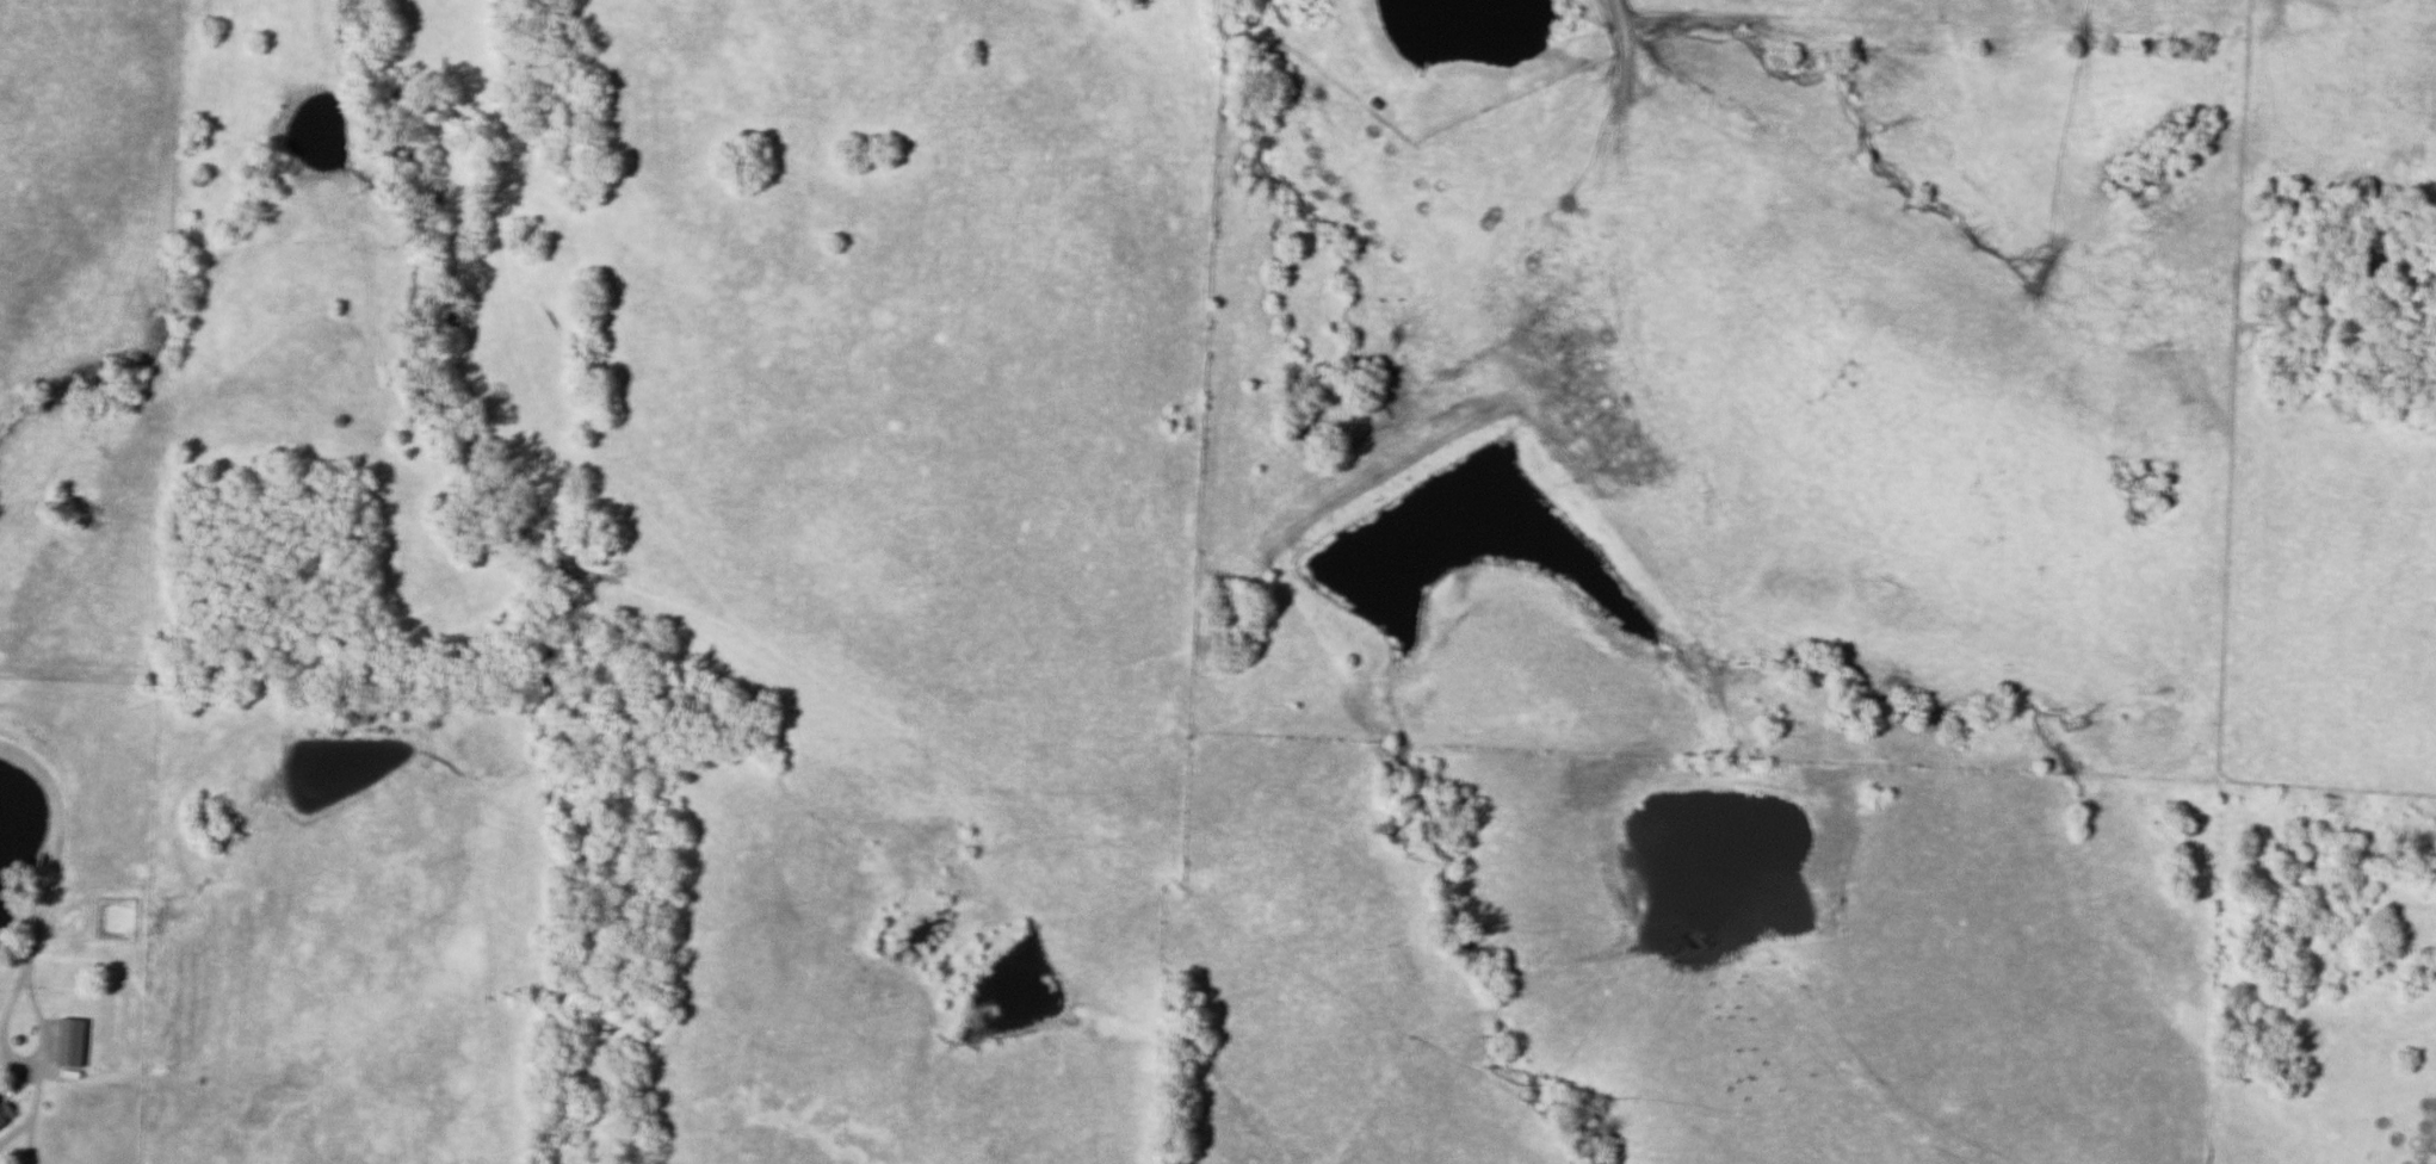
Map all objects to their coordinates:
road: (1620, 66)
road: (60, 847)
building: (74, 1045)
road: (10, 1064)
building: (4, 1123)

